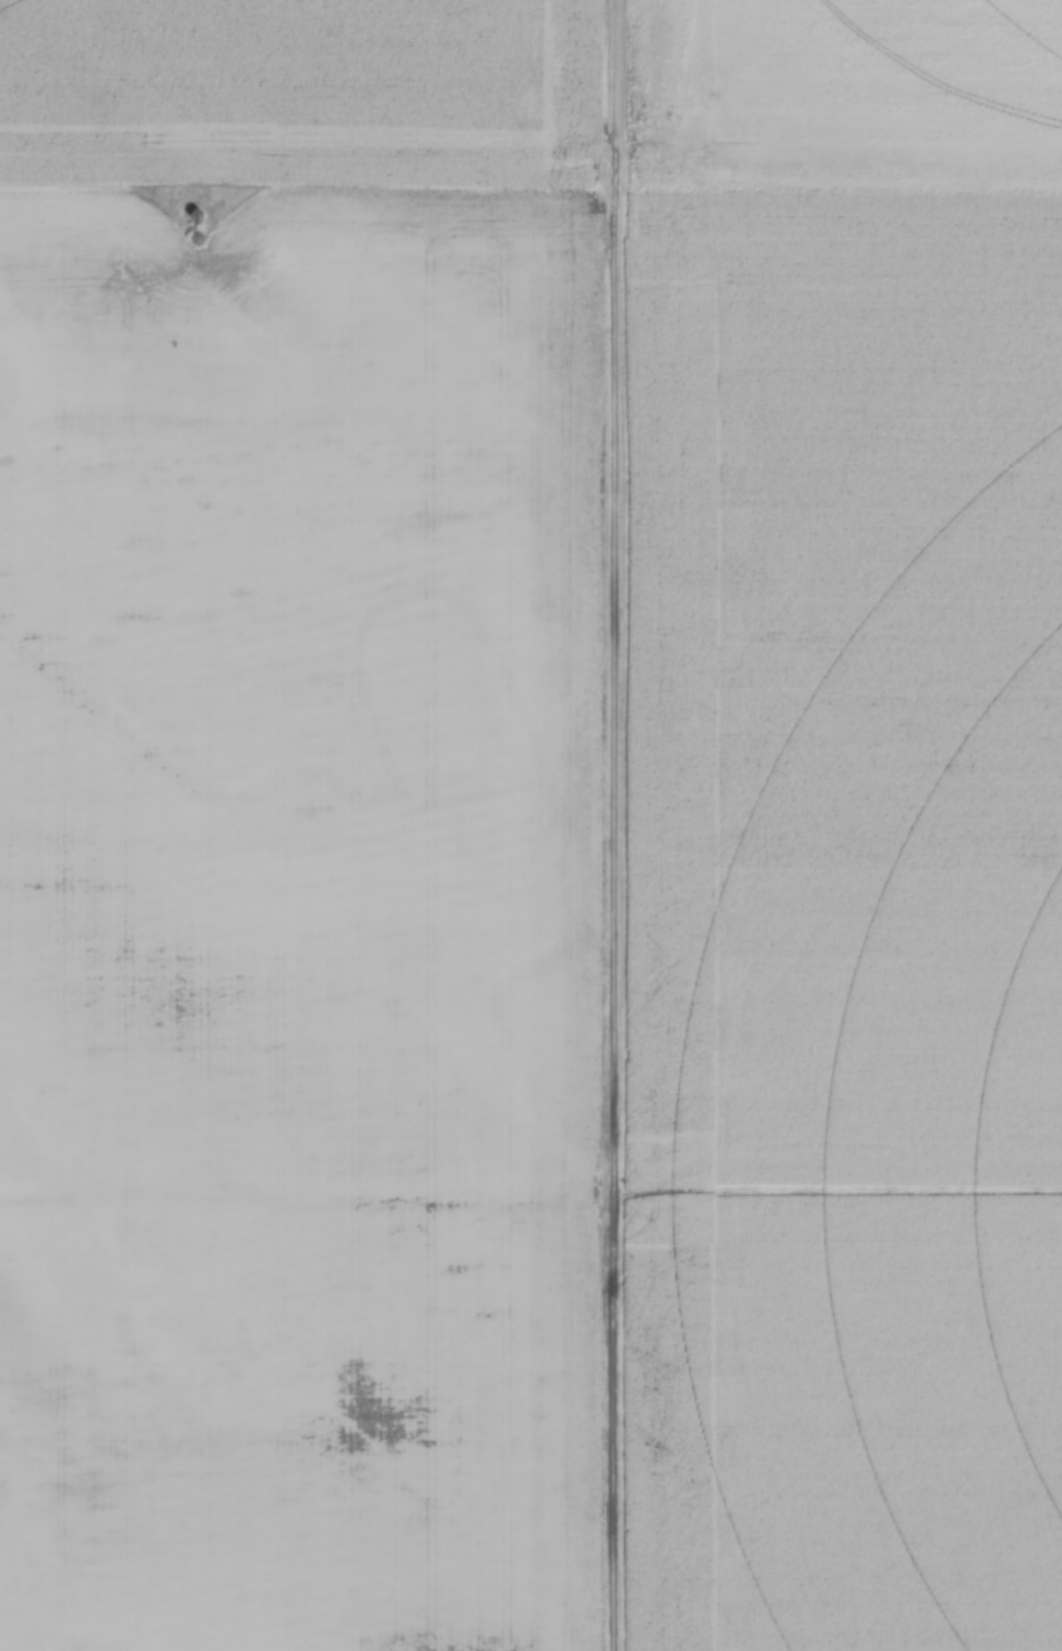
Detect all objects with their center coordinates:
road: (613, 825)

